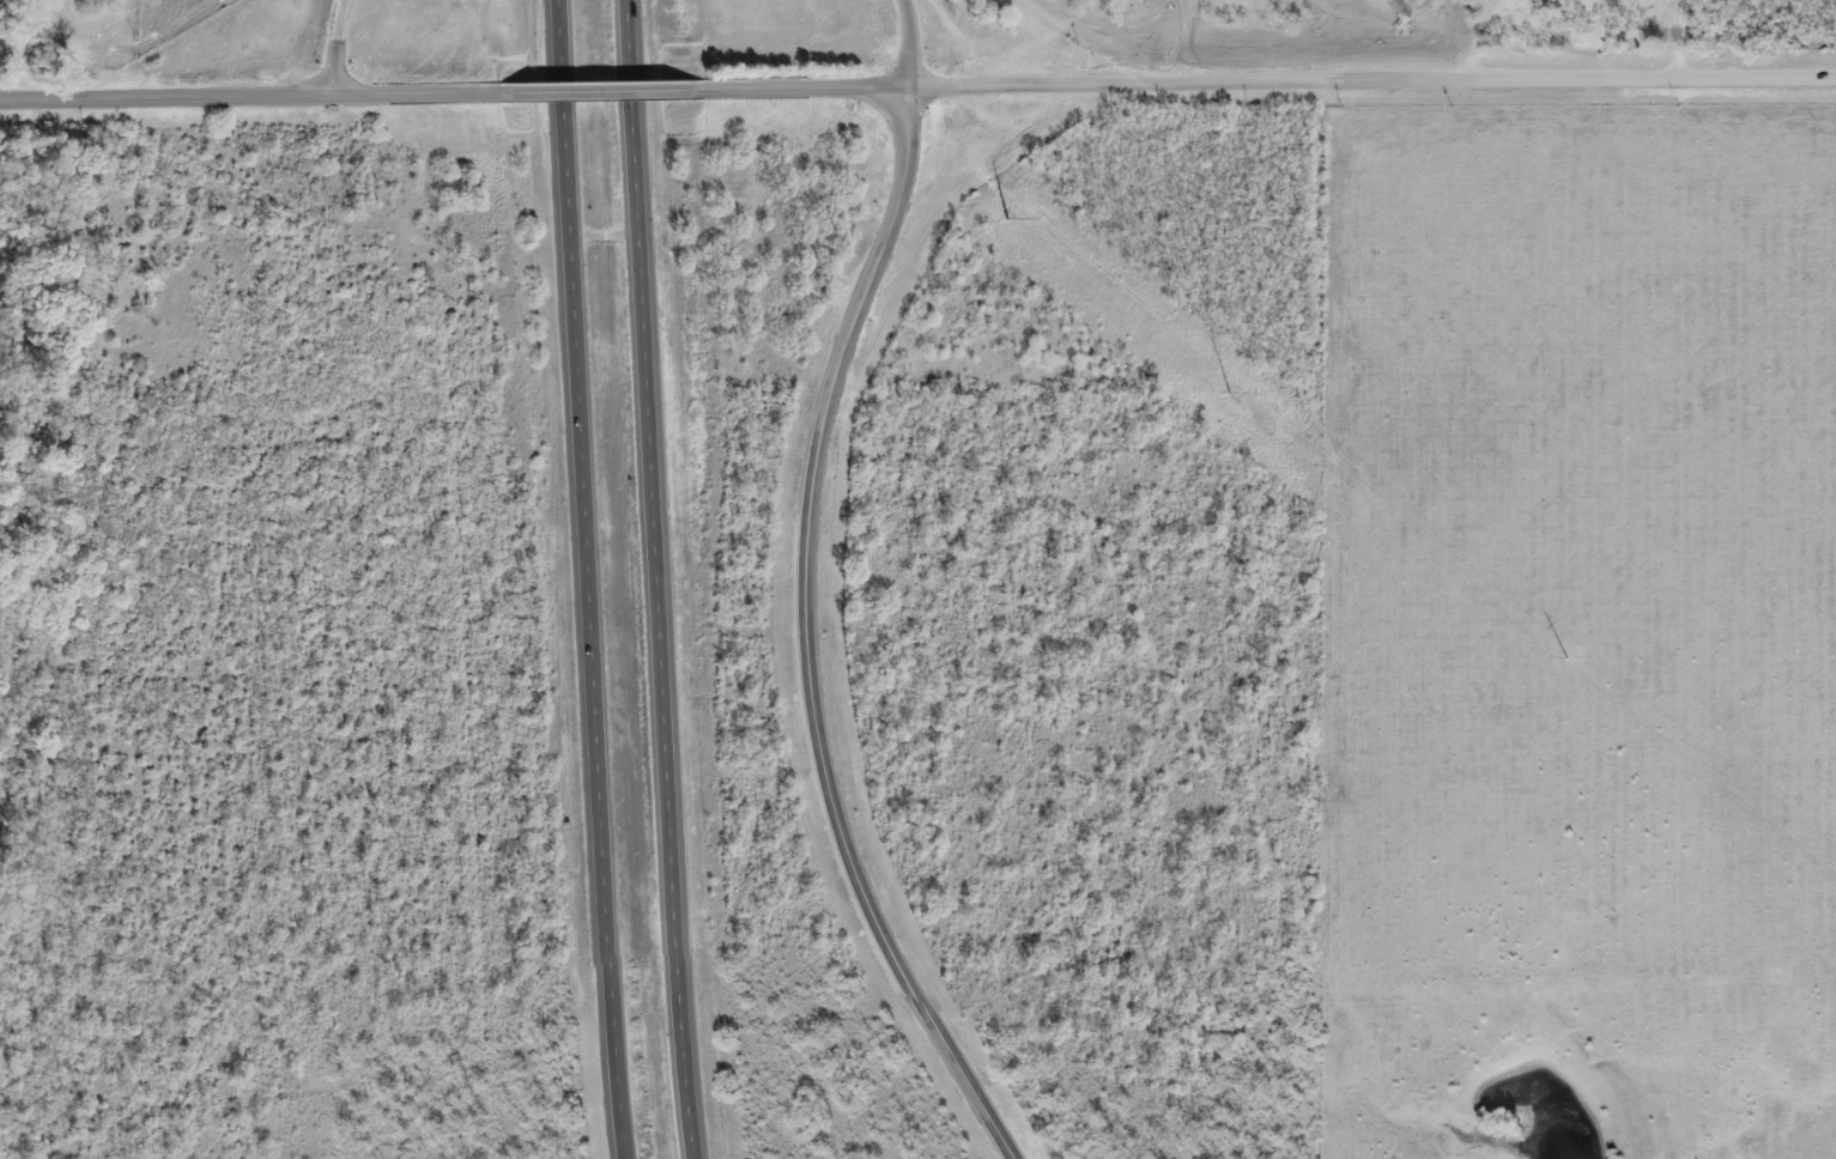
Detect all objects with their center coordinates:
road: (913, 42)
road: (340, 47)
road: (1375, 83)
road: (808, 89)
road: (601, 91)
road: (250, 96)
power tower: (1002, 212)
road: (607, 236)
power tower: (1228, 388)
road: (587, 579)
road: (661, 579)
road: (810, 638)
power tower: (1558, 651)

